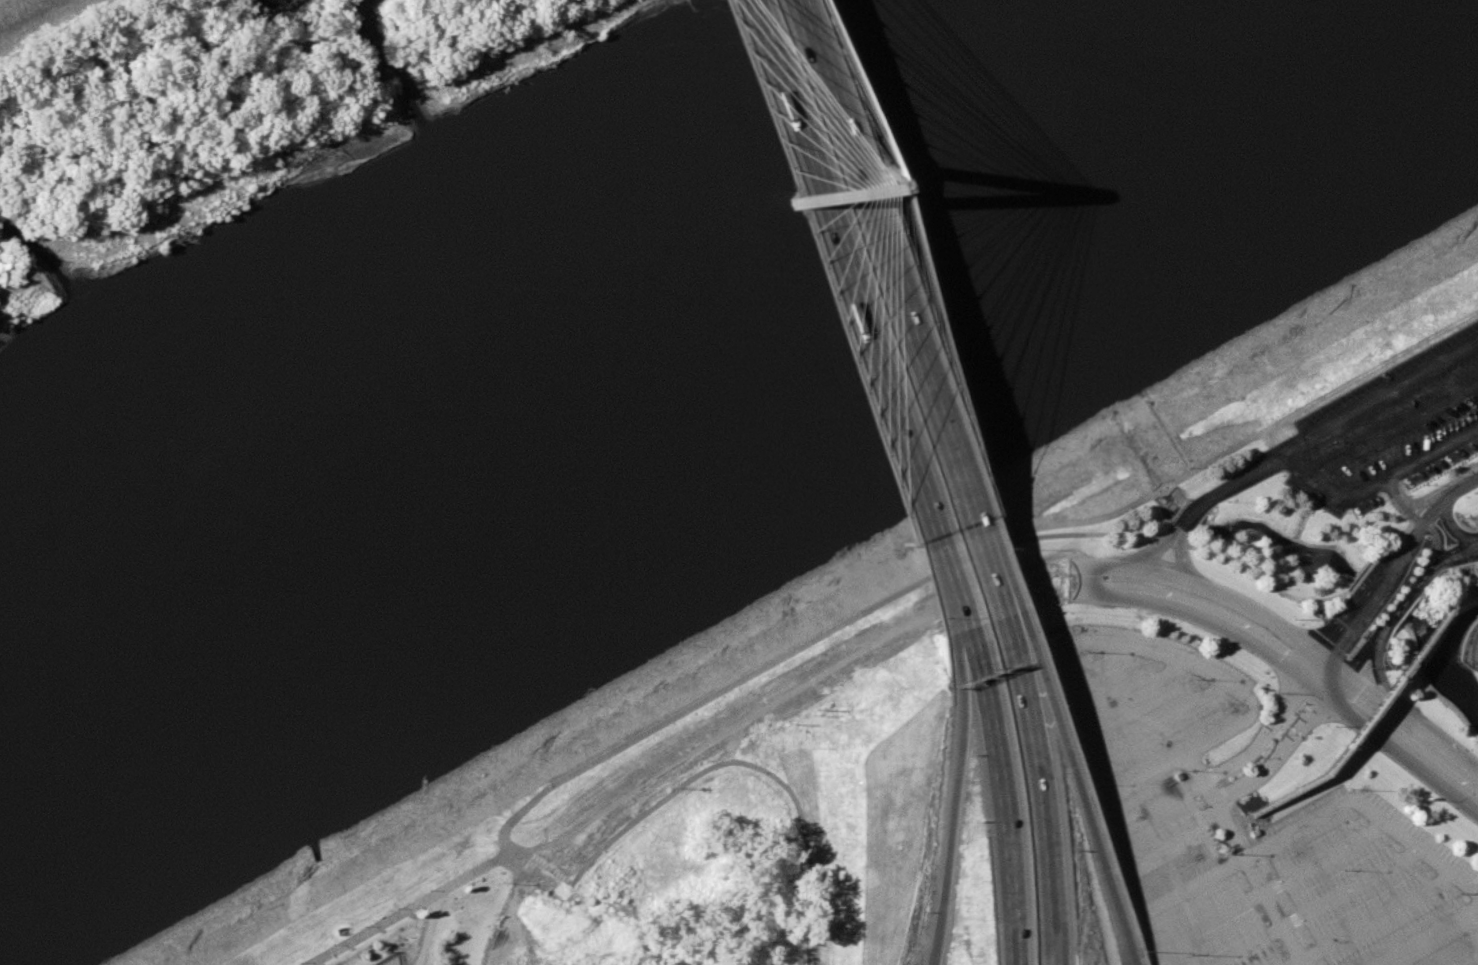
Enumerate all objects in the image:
road: (888, 307)
road: (846, 313)
road: (1367, 370)
river: (626, 385)
road: (1377, 396)
parking lot: (1387, 428)
road: (1392, 429)
road: (1303, 473)
road: (1462, 484)
road: (1134, 501)
road: (1400, 502)
road: (1425, 502)
road: (1434, 507)
road: (1447, 526)
road: (1435, 542)
road: (1454, 555)
road: (1230, 560)
road: (1087, 579)
road: (1228, 595)
road: (1364, 600)
road: (1201, 615)
road: (1389, 622)
road: (1001, 634)
building: (1470, 648)
road: (1382, 695)
road: (1412, 726)
road: (636, 738)
road: (1390, 742)
road: (714, 766)
road: (996, 794)
road: (1084, 803)
road: (1039, 808)
road: (954, 816)
parking lot: (1251, 818)
street lamp: (427, 889)
street lamp: (395, 907)
park: (416, 920)
street lamp: (363, 926)
street lamp: (330, 944)
street lamp: (299, 961)
building: (371, 964)

